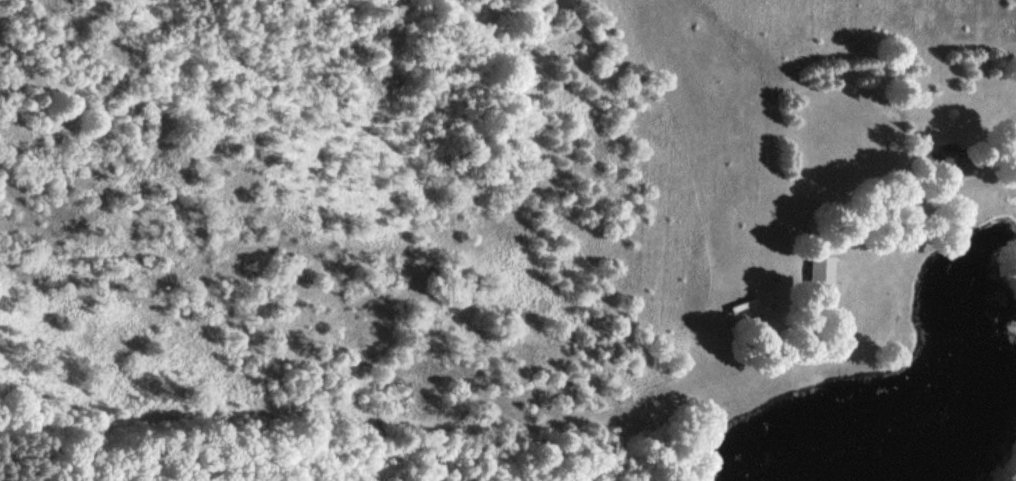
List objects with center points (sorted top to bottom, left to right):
building: (949, 153)
road: (963, 176)
road: (923, 211)
building: (817, 268)

